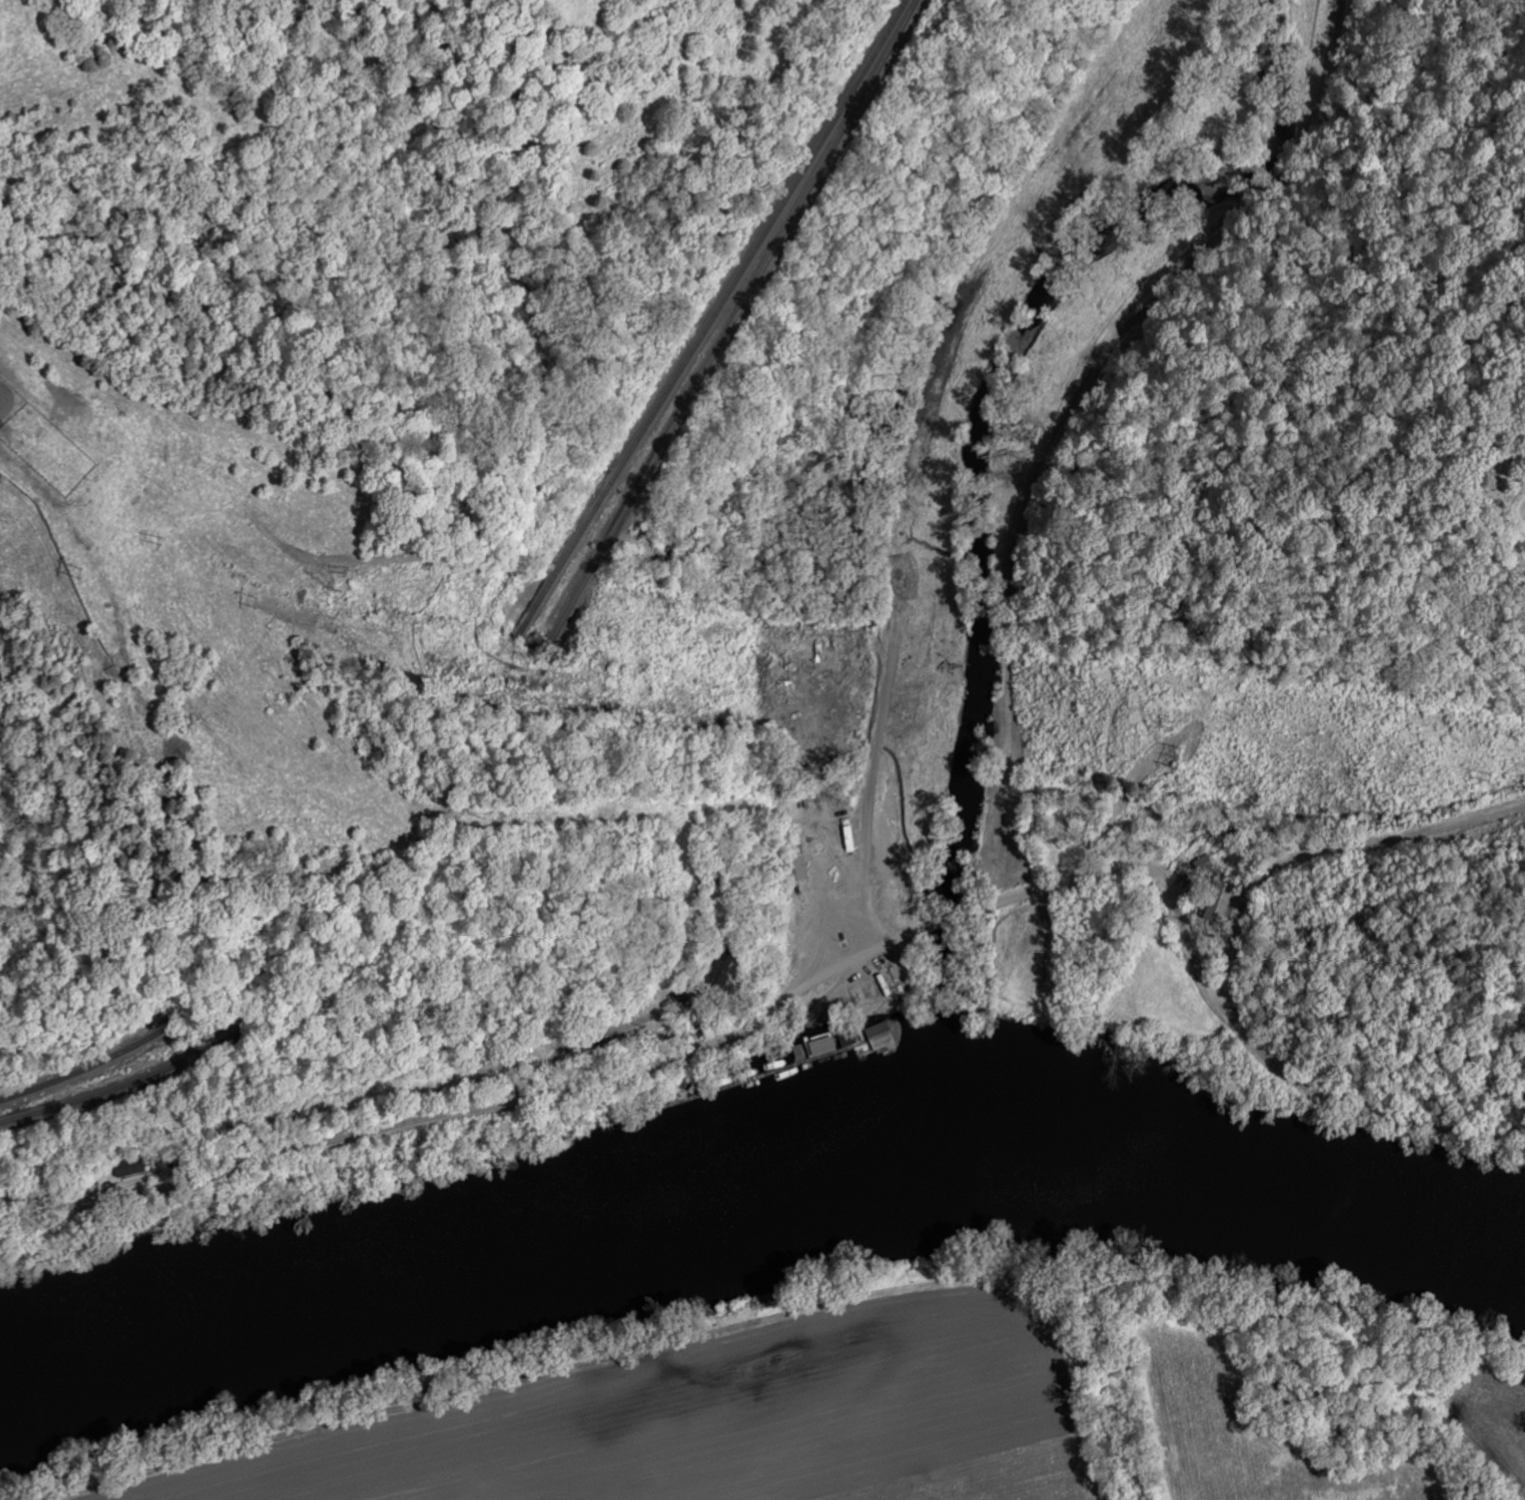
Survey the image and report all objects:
railway: (705, 320)
railway: (727, 320)
power tower: (156, 539)
power tower: (337, 566)
power tower: (73, 569)
power tower: (334, 590)
power tower: (250, 600)
power tower: (613, 612)
power tower: (605, 637)
power tower: (563, 659)
power tower: (1165, 698)
power tower: (1165, 722)
power tower: (1493, 748)
power tower: (1172, 757)
power tower: (1486, 774)
road: (1319, 849)
building: (1218, 901)
road: (813, 979)
road: (586, 1046)
railway: (92, 1062)
pier: (771, 1078)
railway: (126, 1080)
river: (757, 1194)

